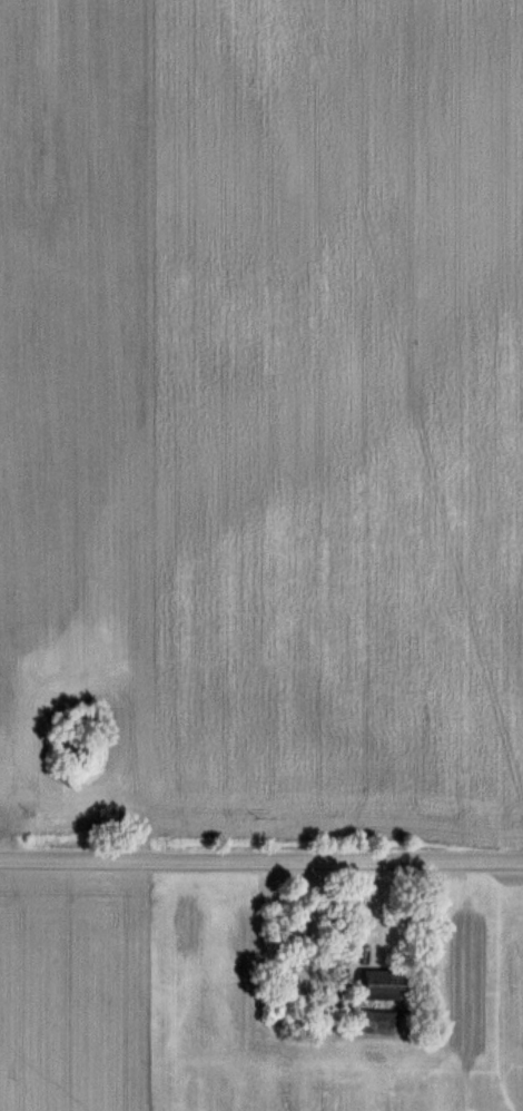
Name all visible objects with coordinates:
road: (261, 857)
building: (382, 997)

